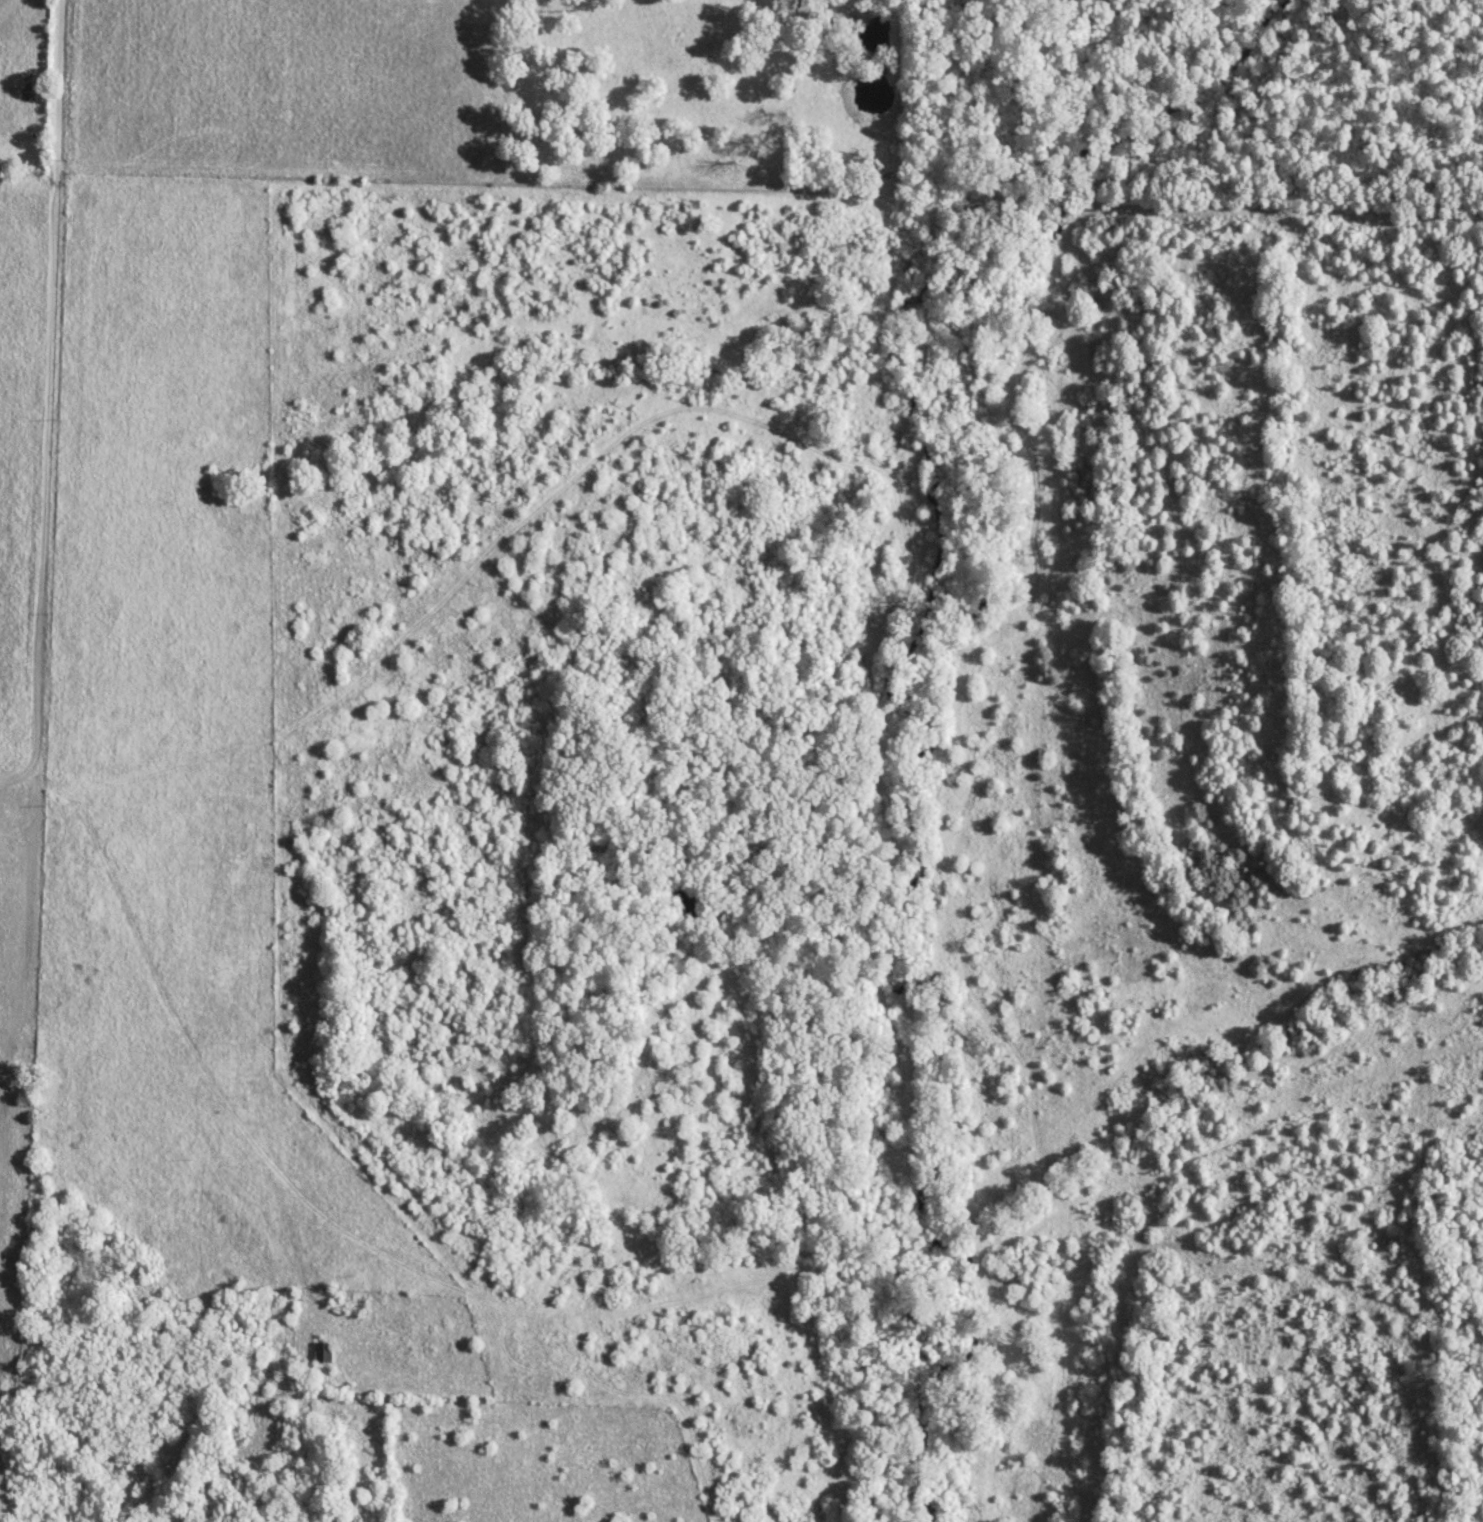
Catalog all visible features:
road: (50, 406)
building: (322, 1351)

